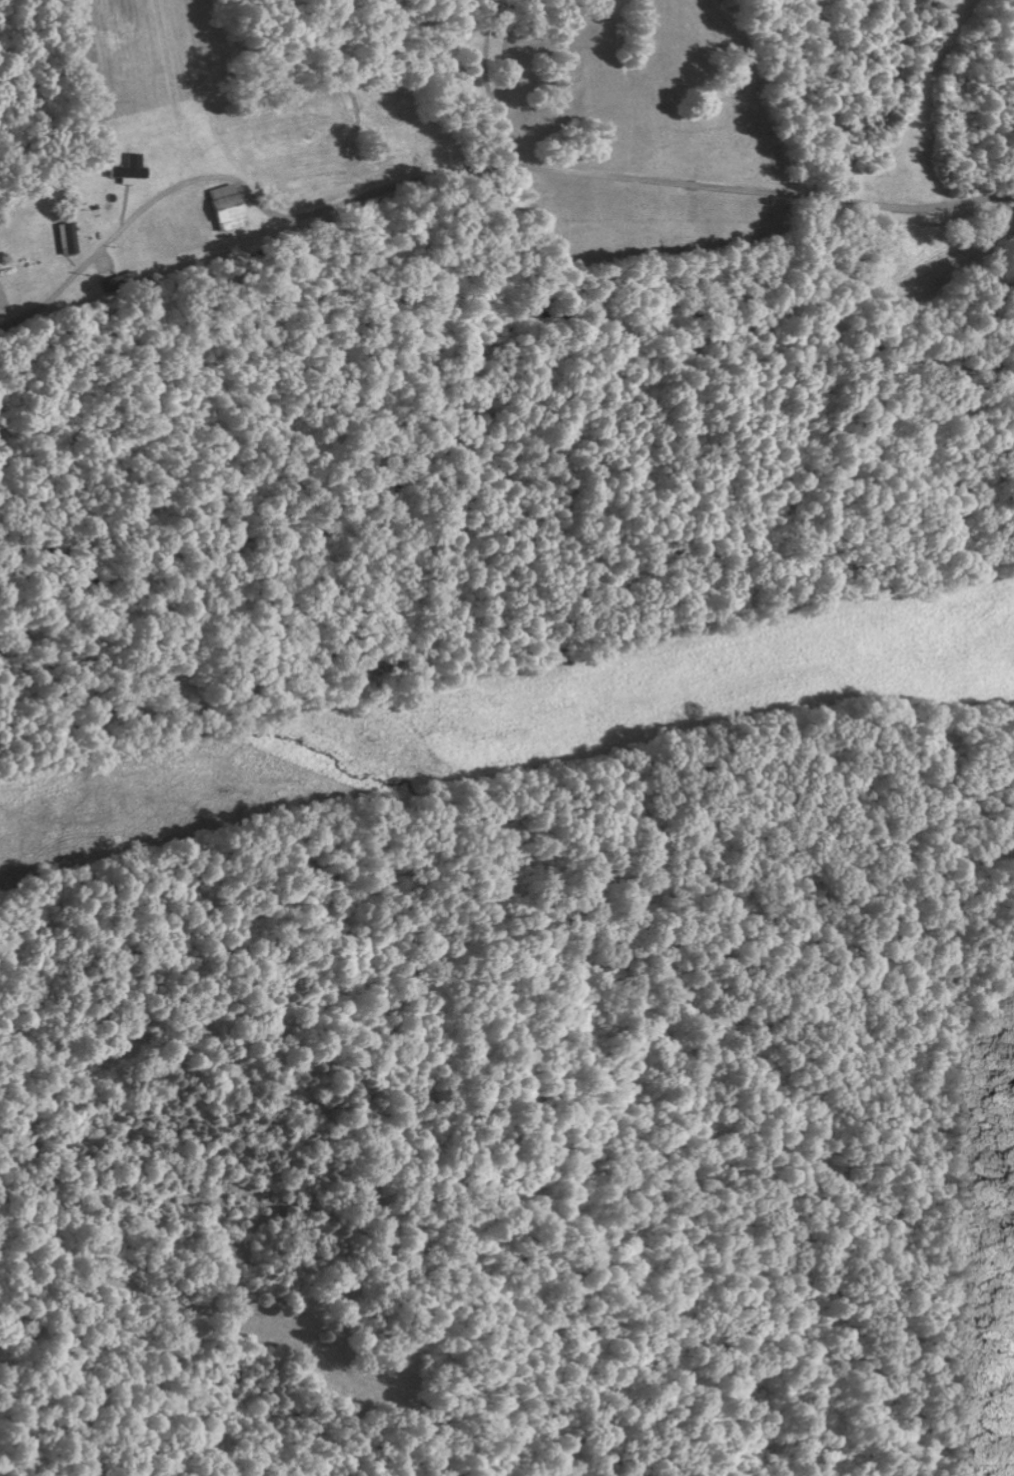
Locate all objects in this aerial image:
building: (130, 169)
building: (227, 207)
building: (68, 238)

